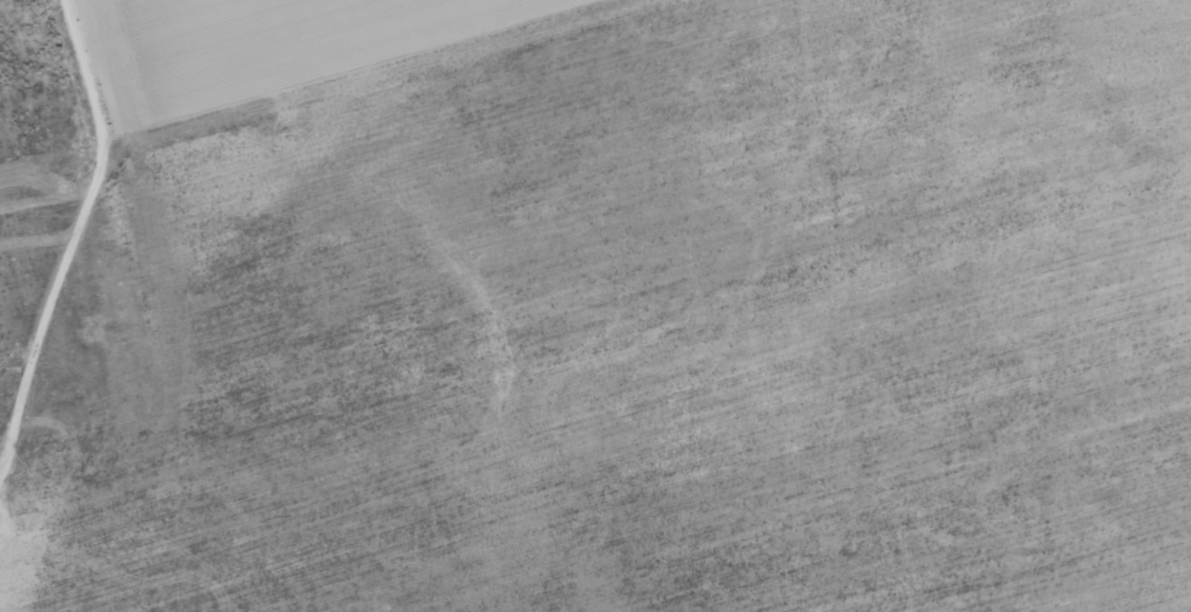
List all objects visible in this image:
road: (103, 271)

